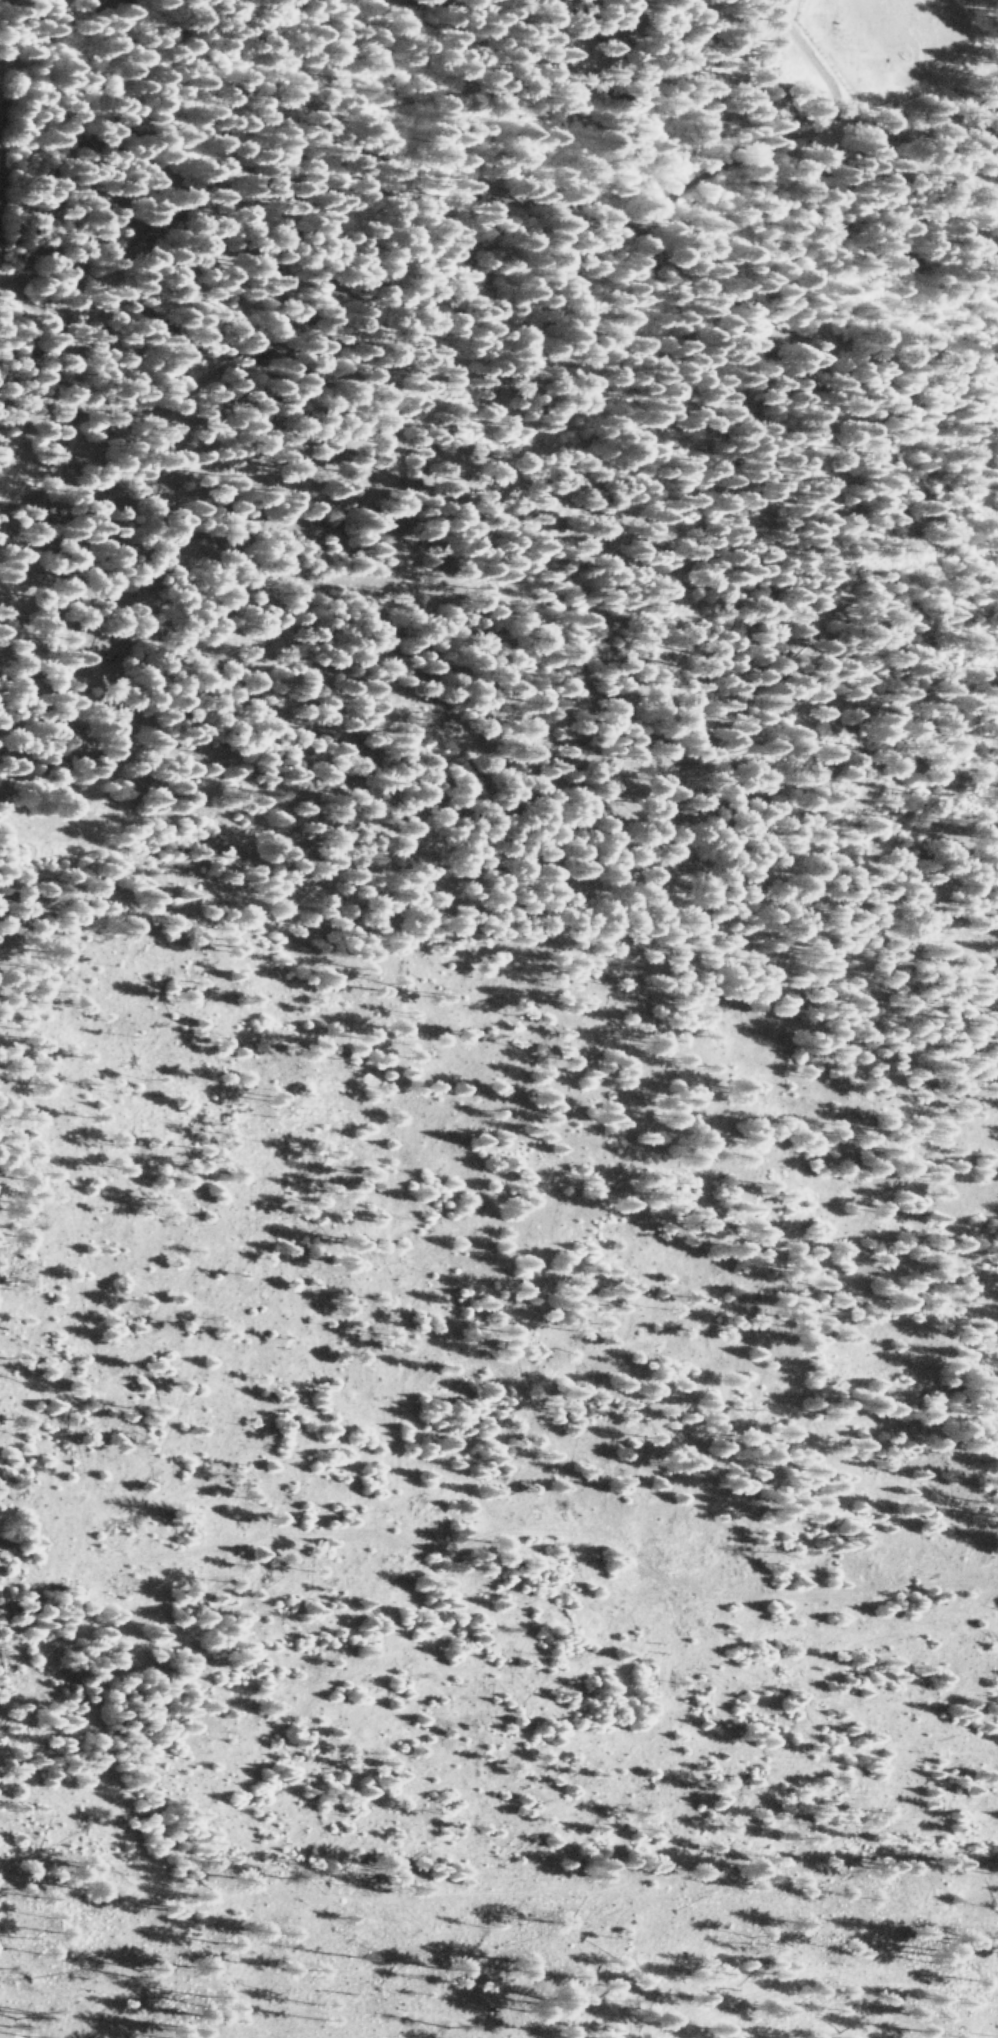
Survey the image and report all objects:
dam: (4, 154)
road: (395, 169)
road: (60, 350)

